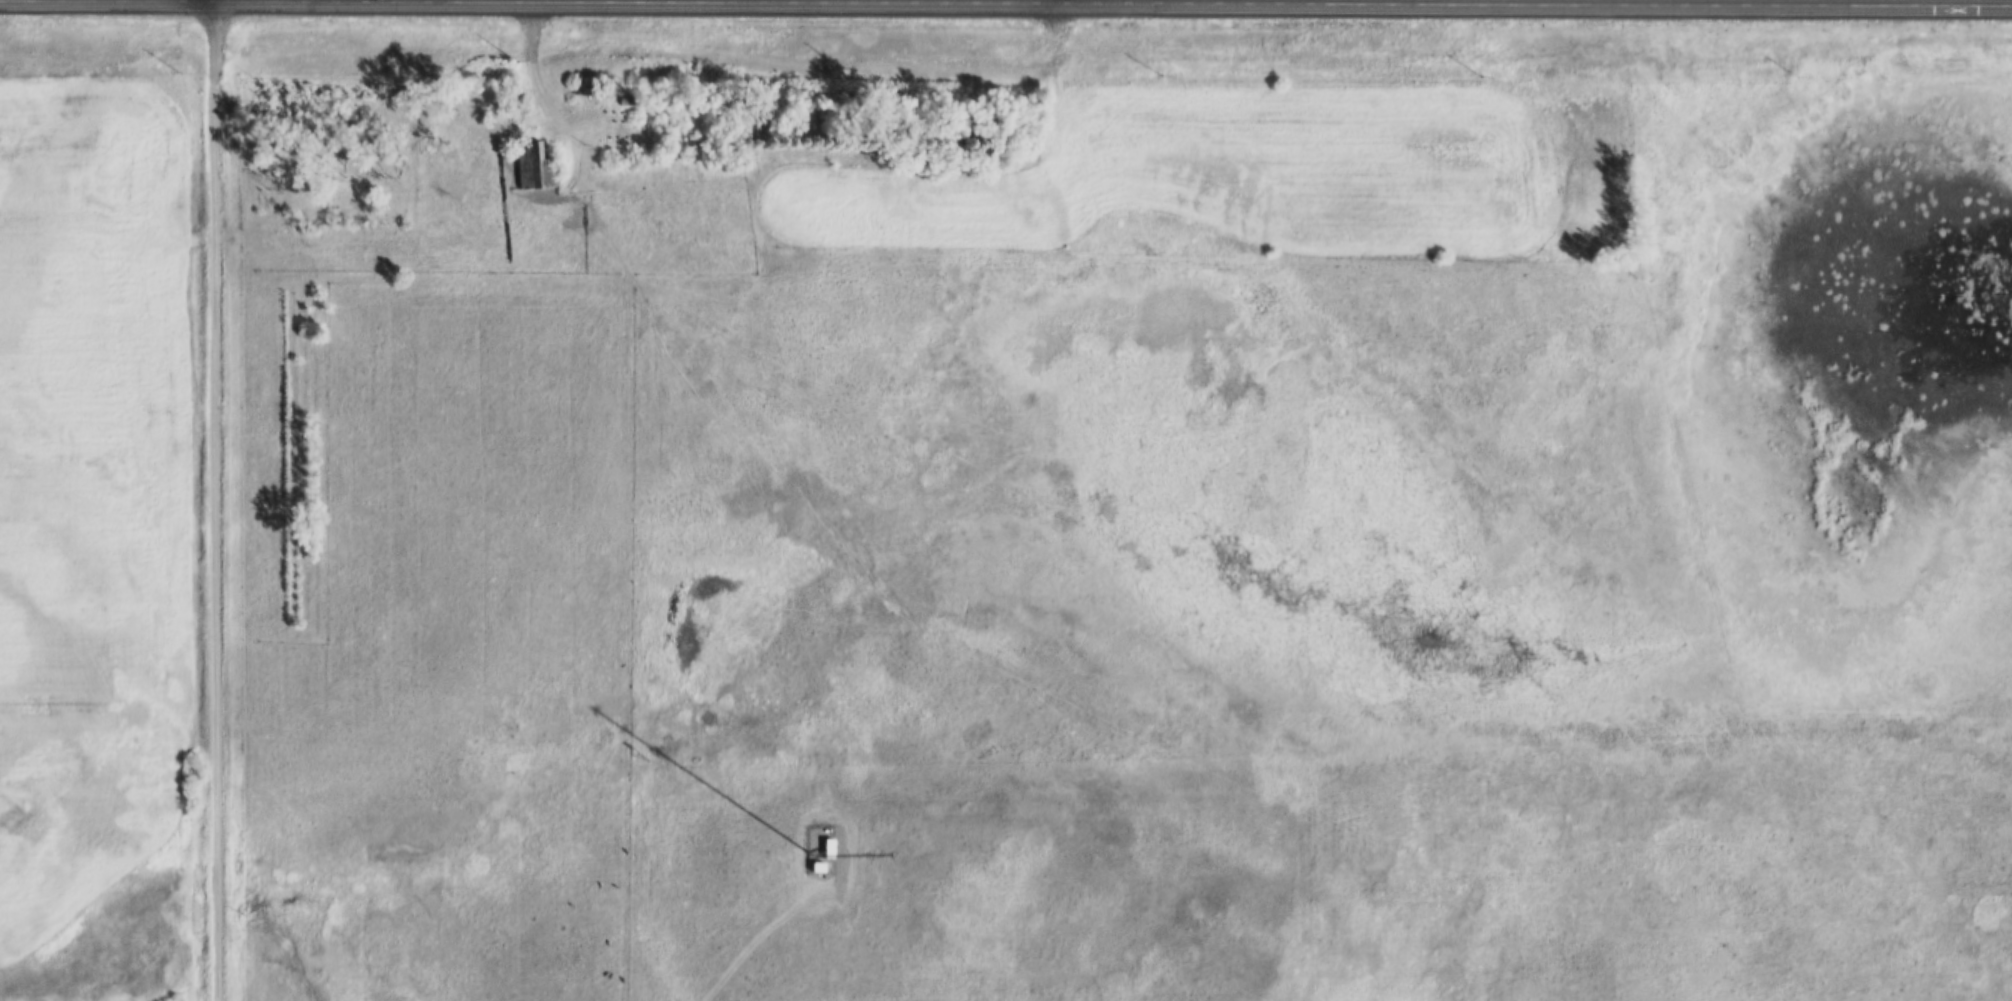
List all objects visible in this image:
road: (1734, 2)
building: (590, 86)
building: (698, 149)
building: (538, 167)
road: (217, 500)
building: (821, 837)
building: (810, 857)

